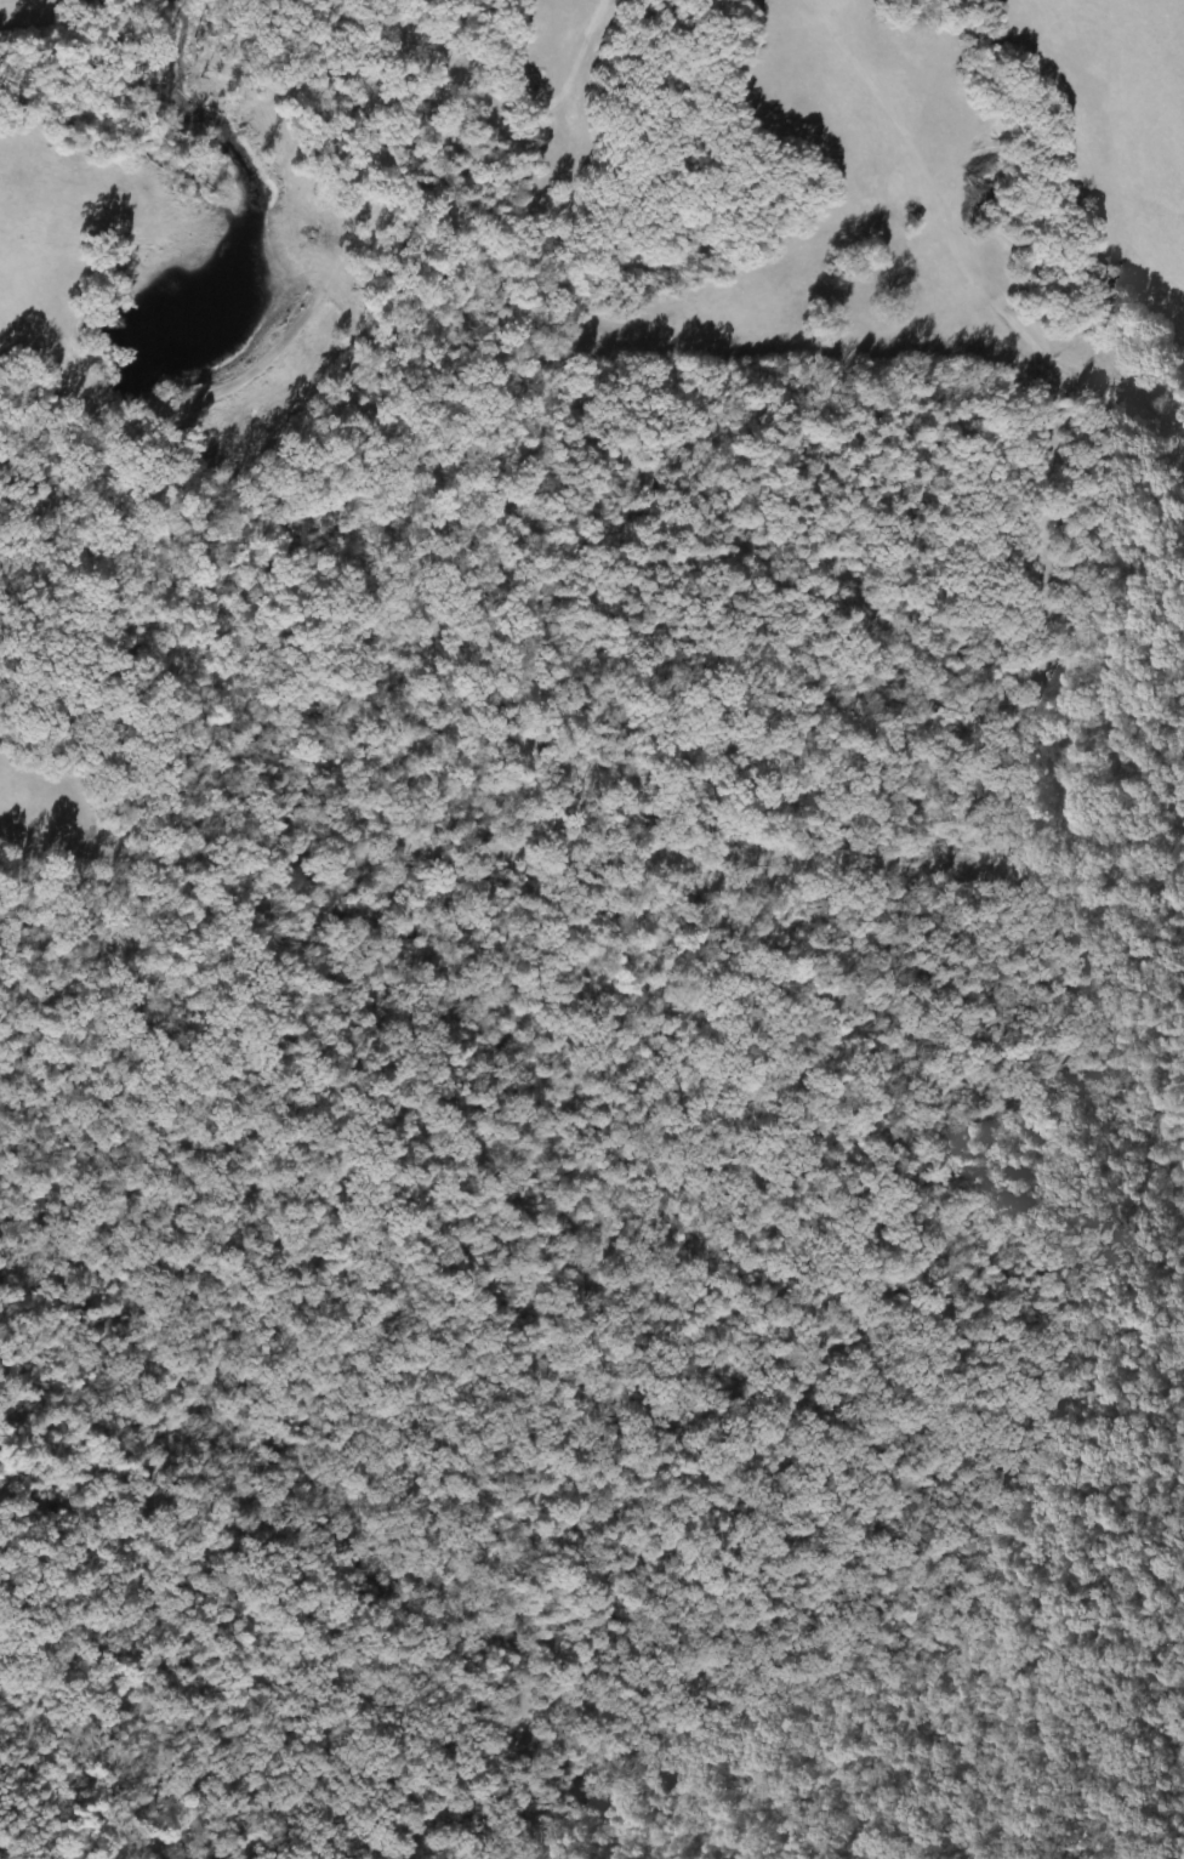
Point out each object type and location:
road: (1083, 376)

